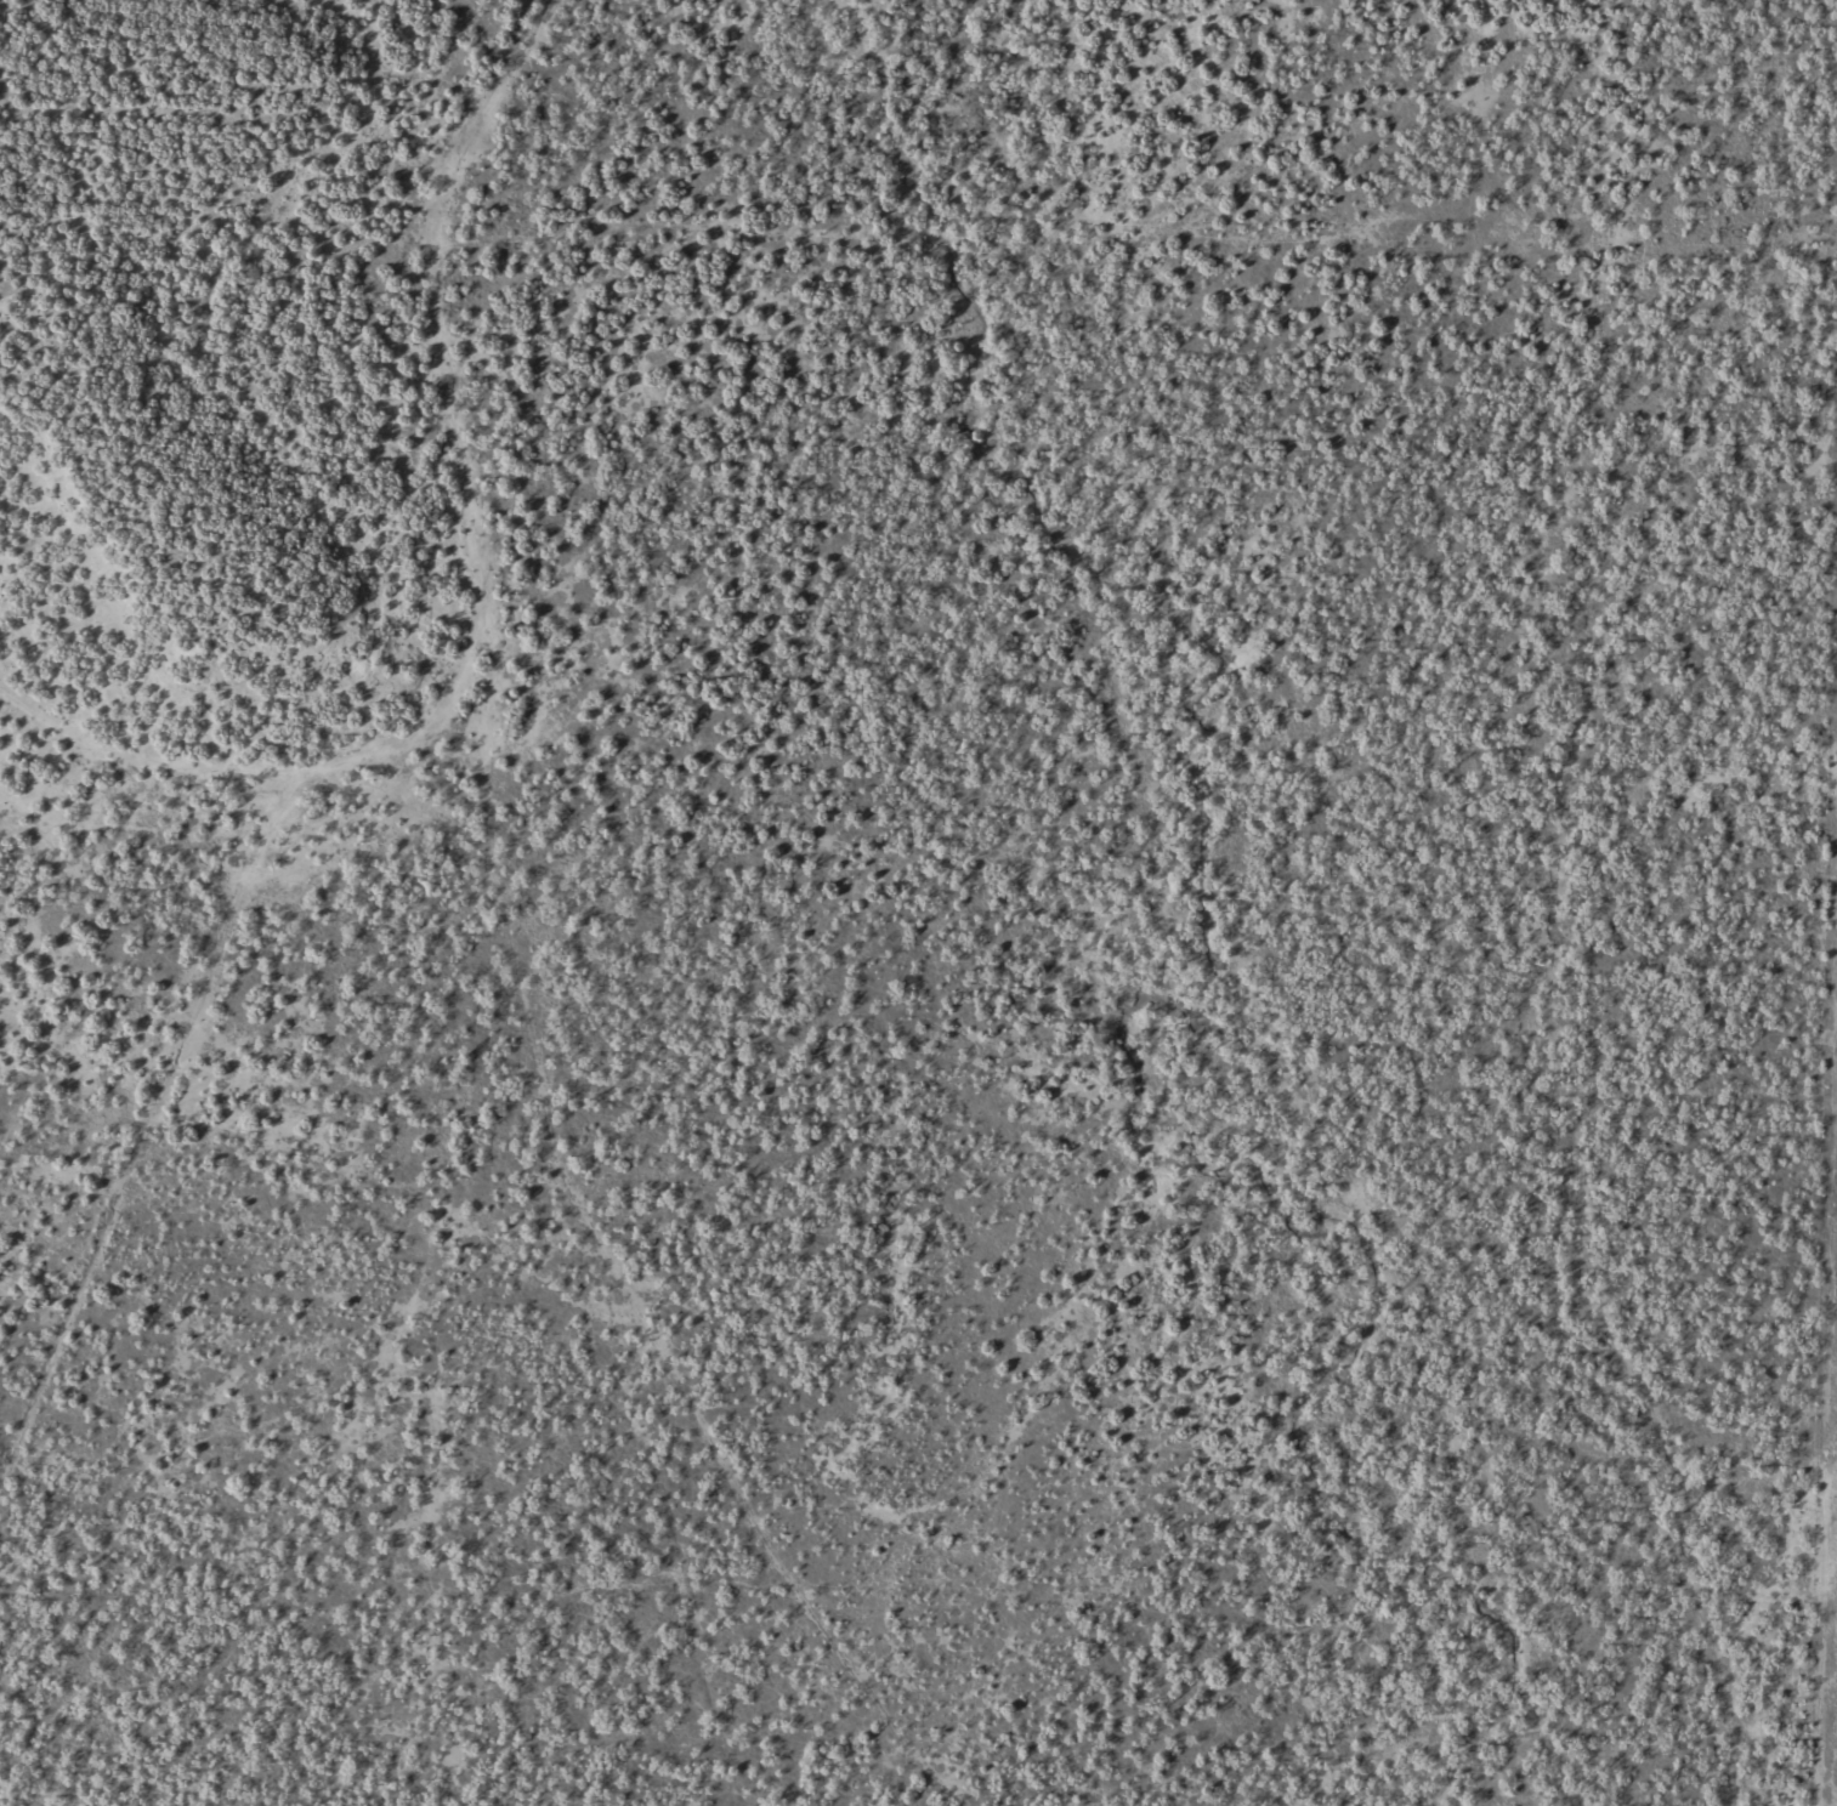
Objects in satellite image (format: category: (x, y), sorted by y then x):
road: (240, 773)
road: (548, 949)

